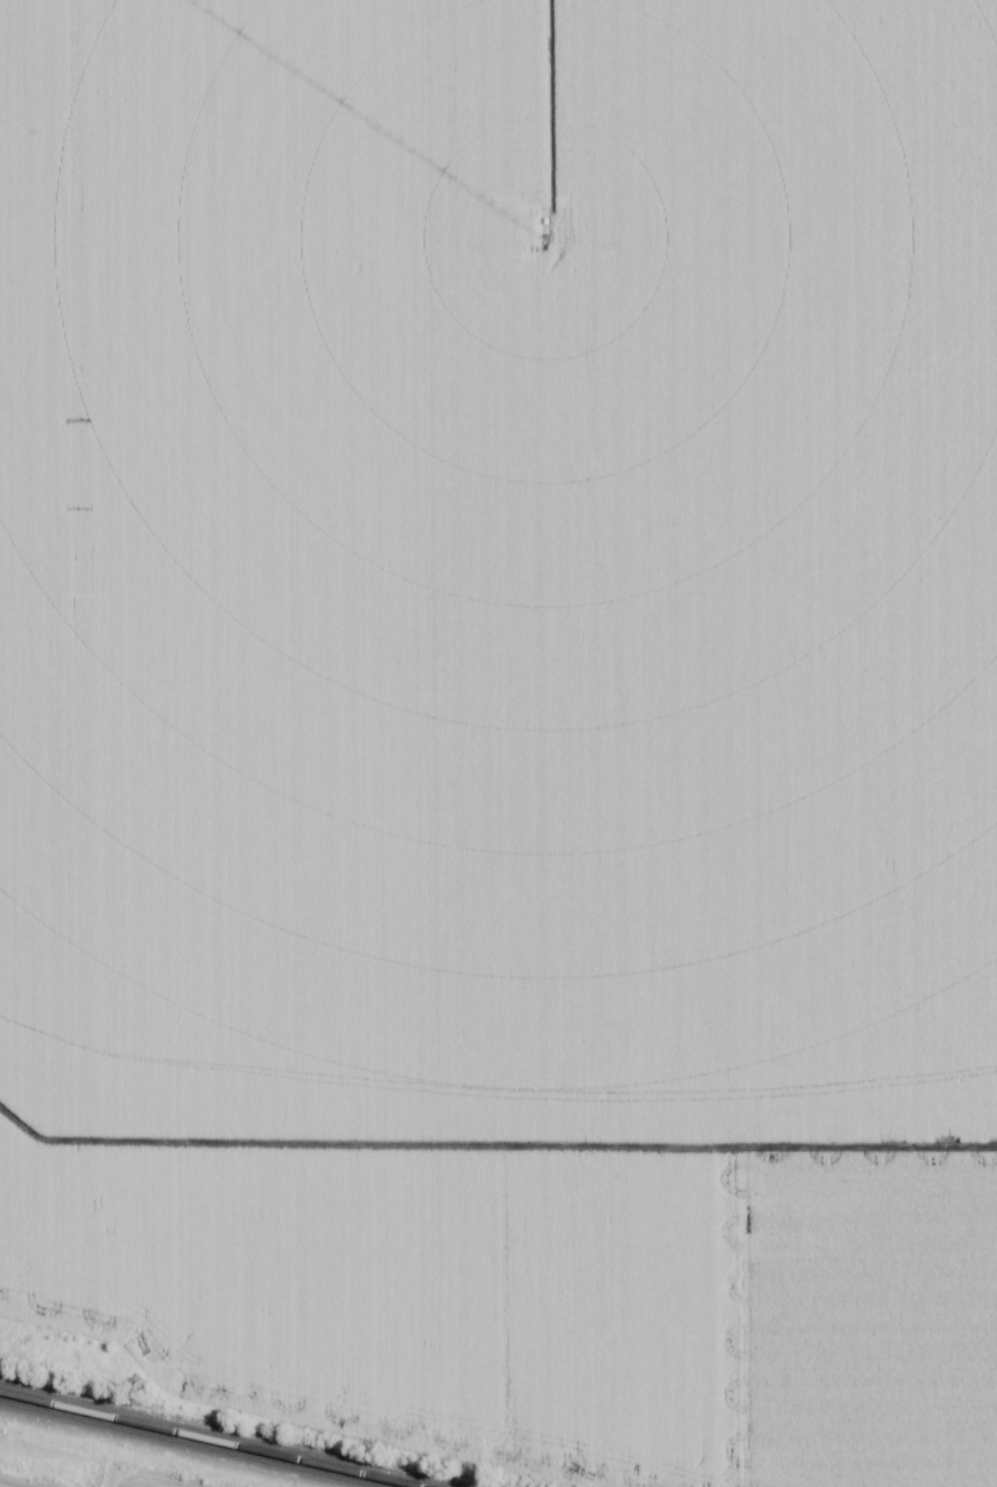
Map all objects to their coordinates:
railway: (209, 1439)
railway: (185, 1445)

